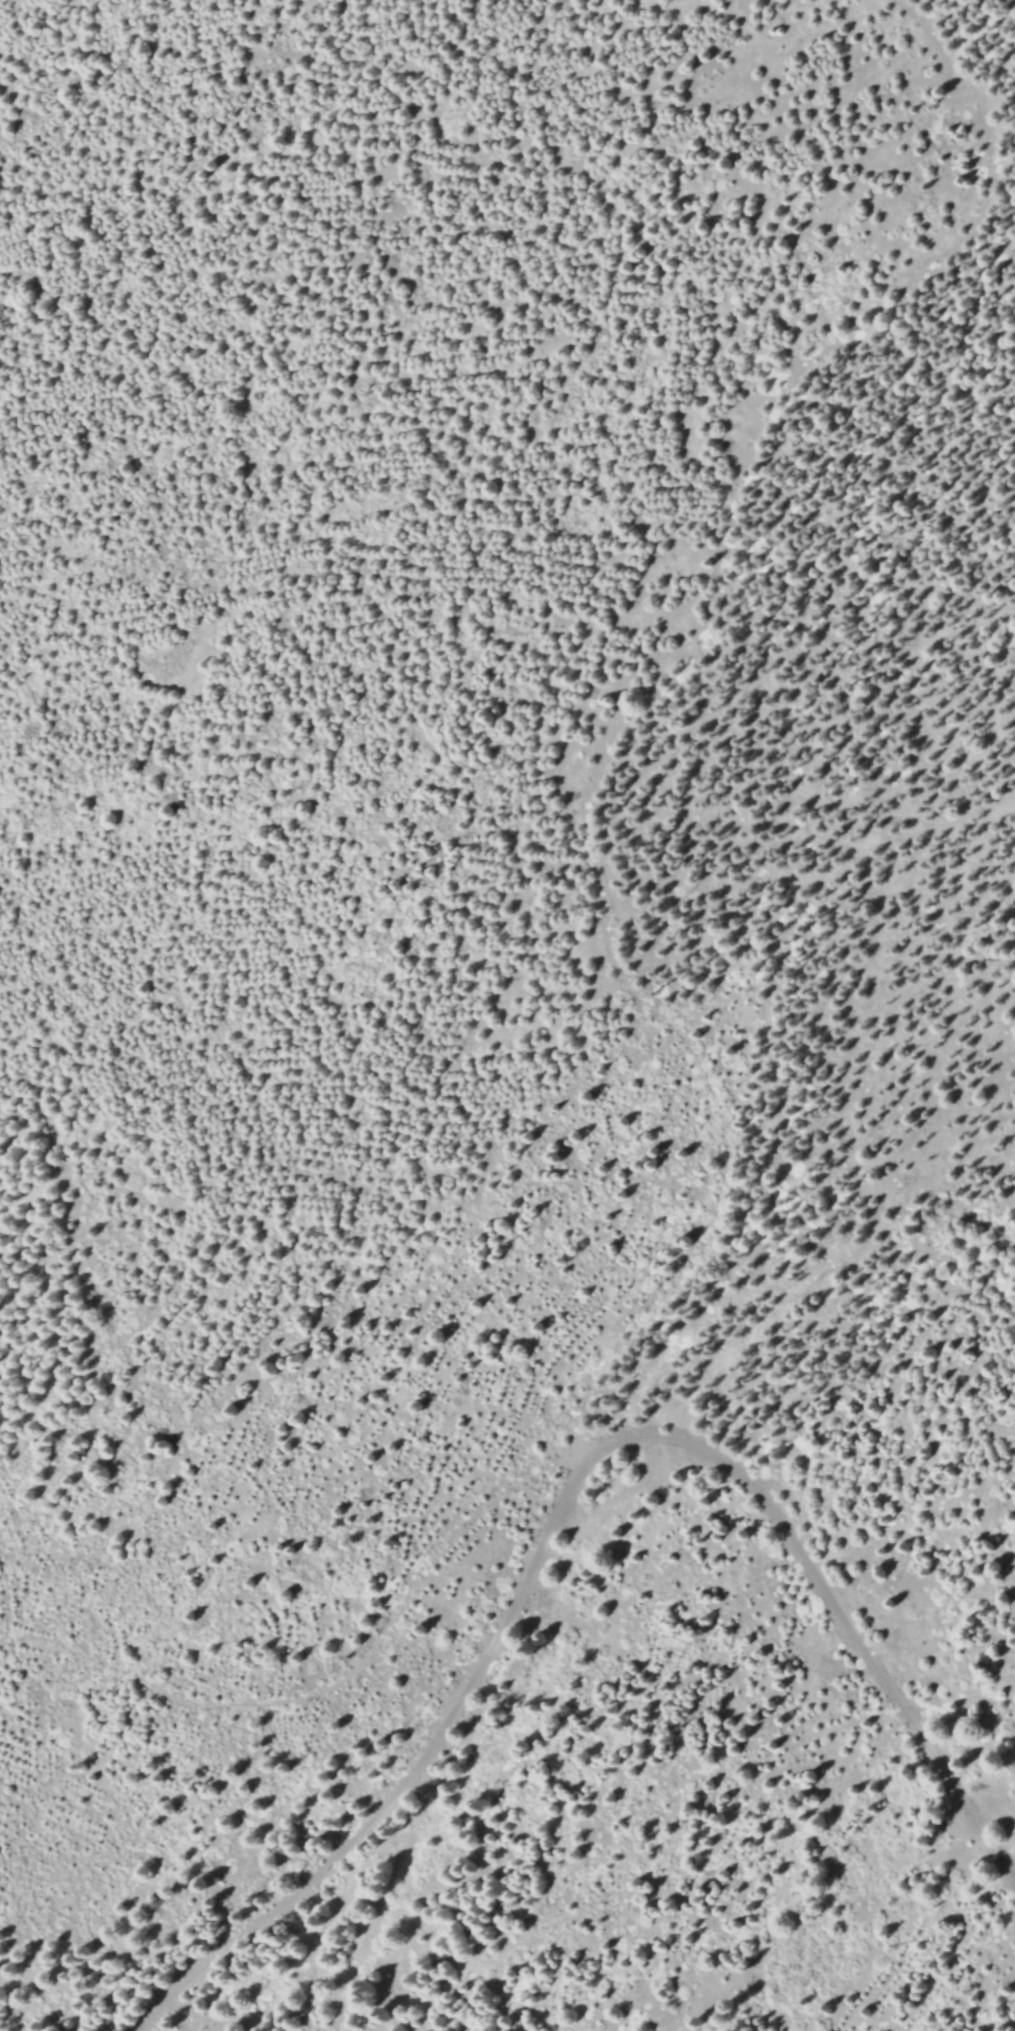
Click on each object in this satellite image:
road: (841, 1617)
road: (407, 1772)

